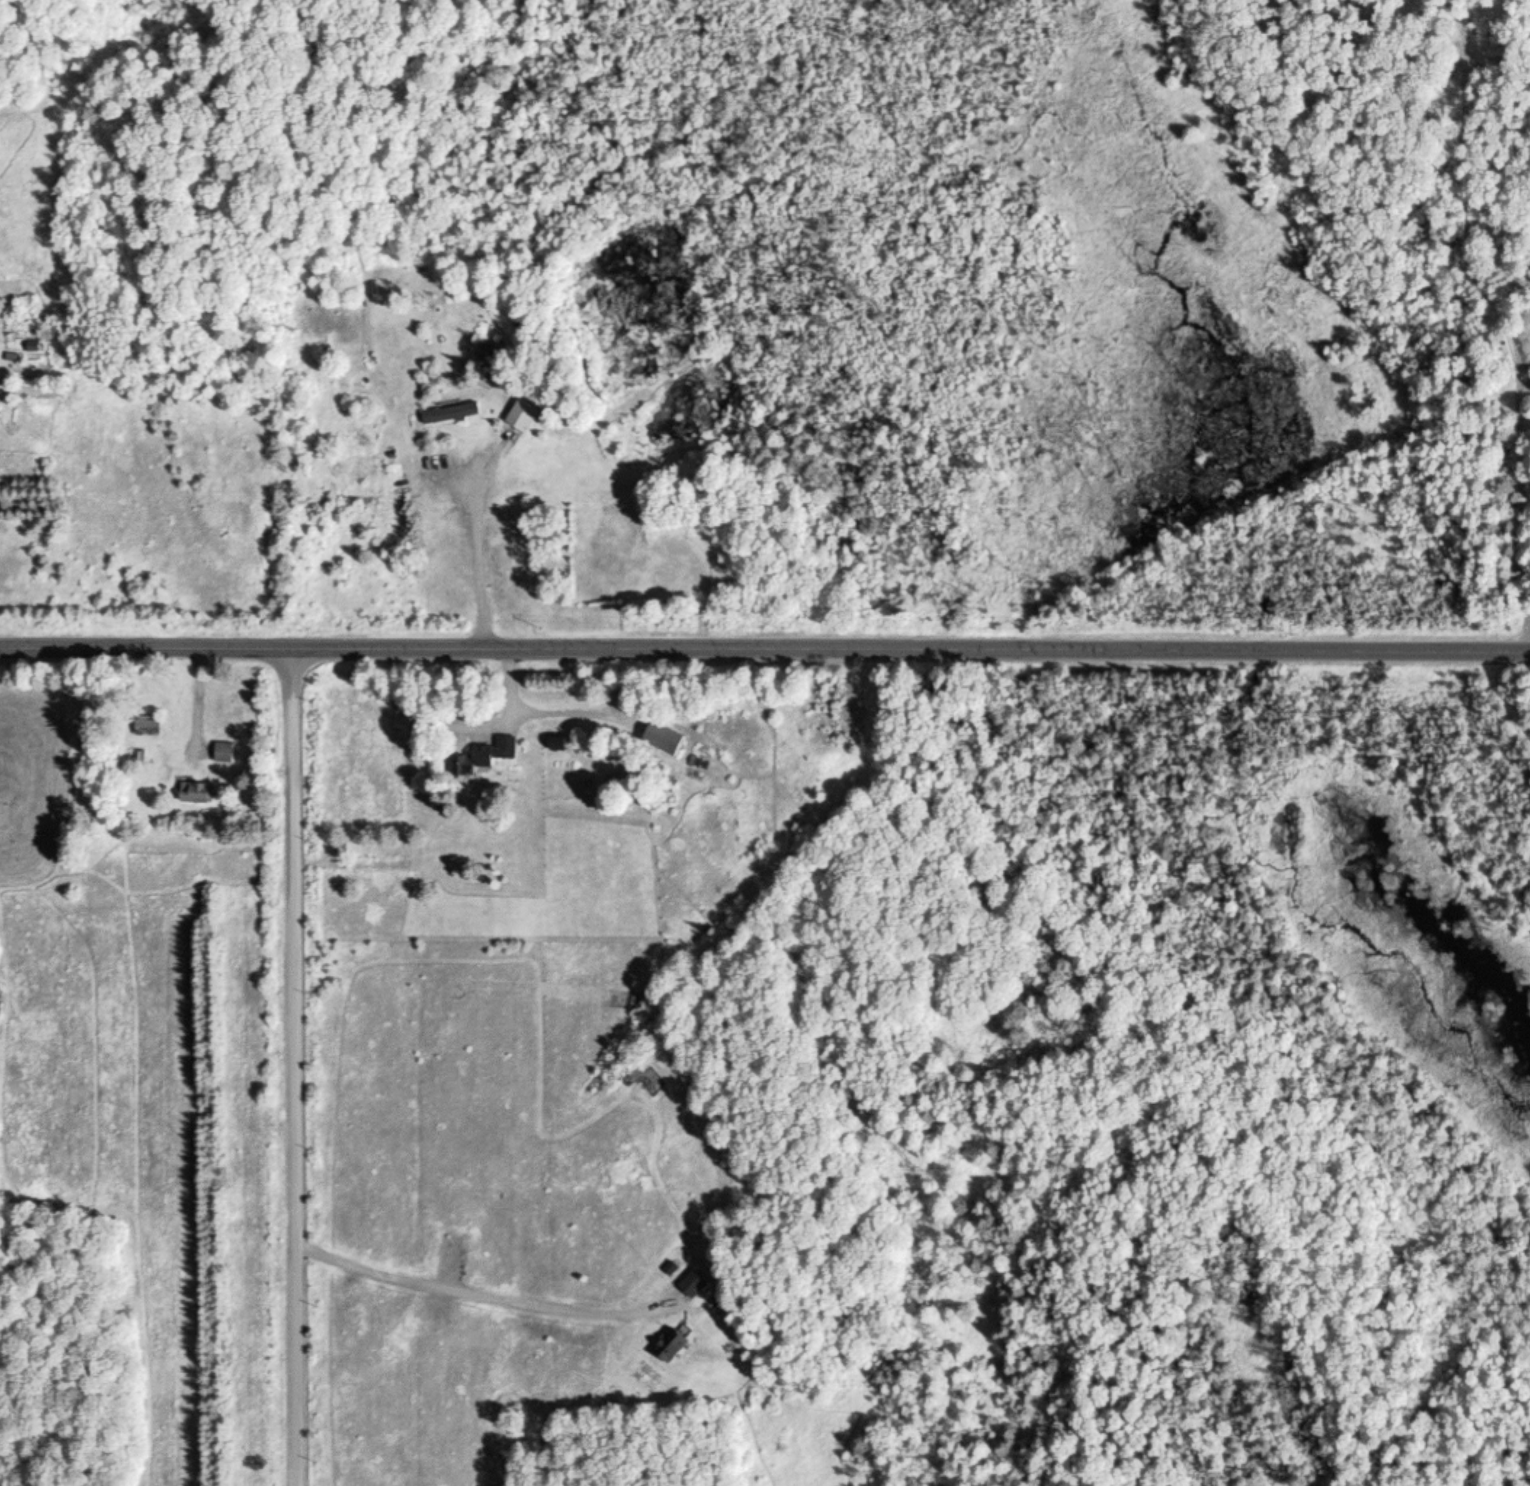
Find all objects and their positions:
building: (489, 354)
building: (452, 415)
building: (513, 420)
road: (765, 650)
building: (145, 727)
building: (665, 741)
building: (553, 744)
building: (223, 754)
building: (486, 754)
building: (194, 793)
road: (295, 1066)
building: (691, 1286)
building: (667, 1347)

